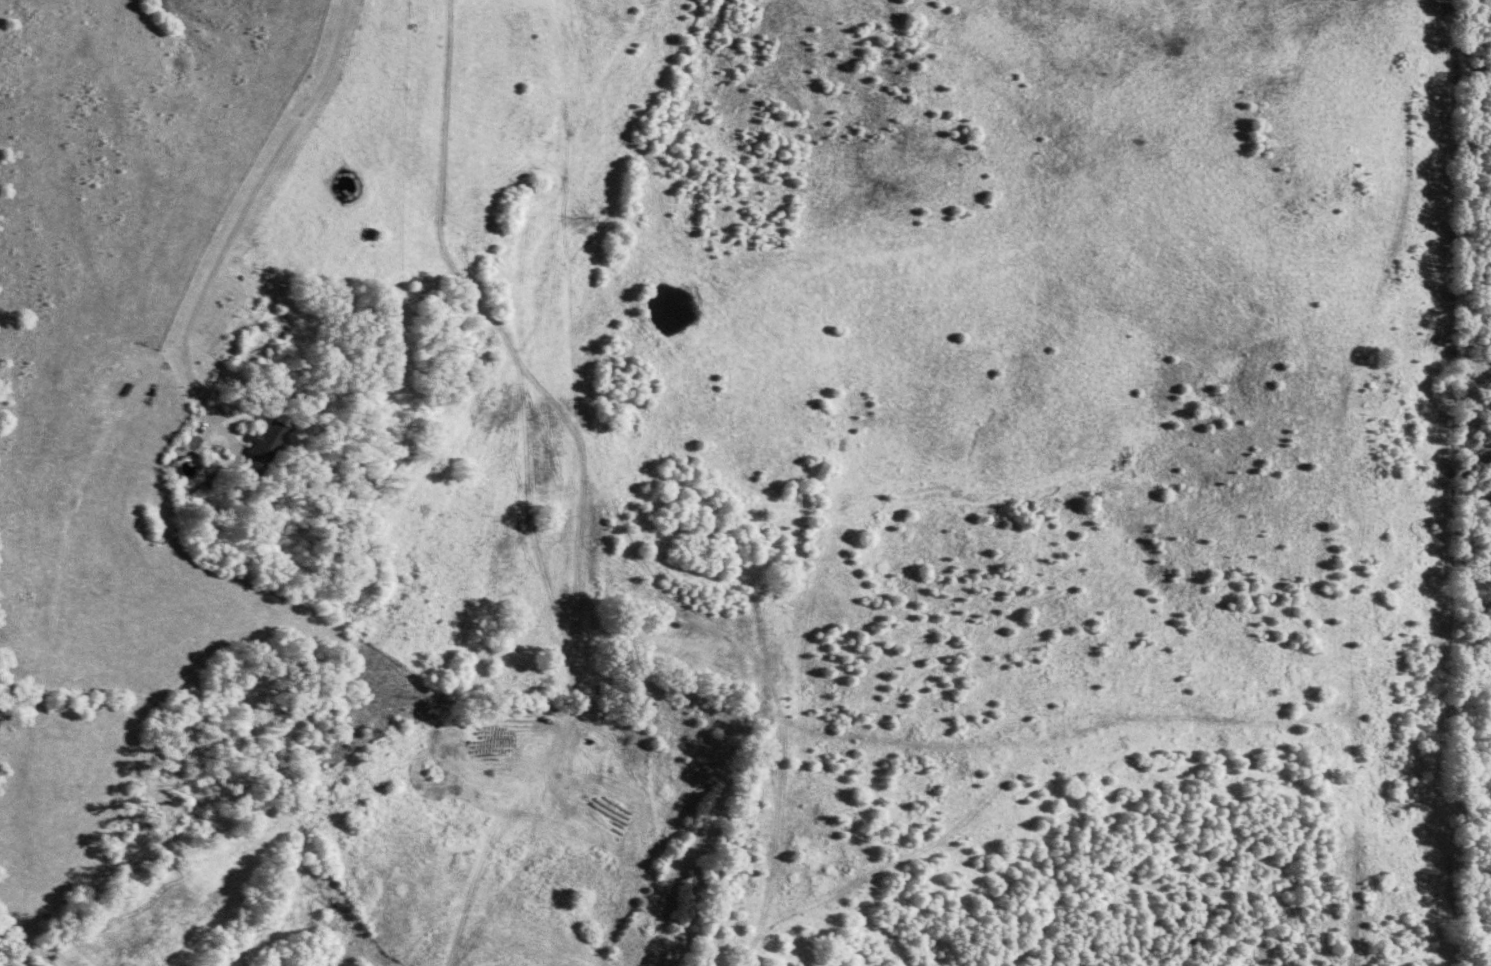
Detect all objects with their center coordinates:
road: (232, 226)
road: (581, 473)

